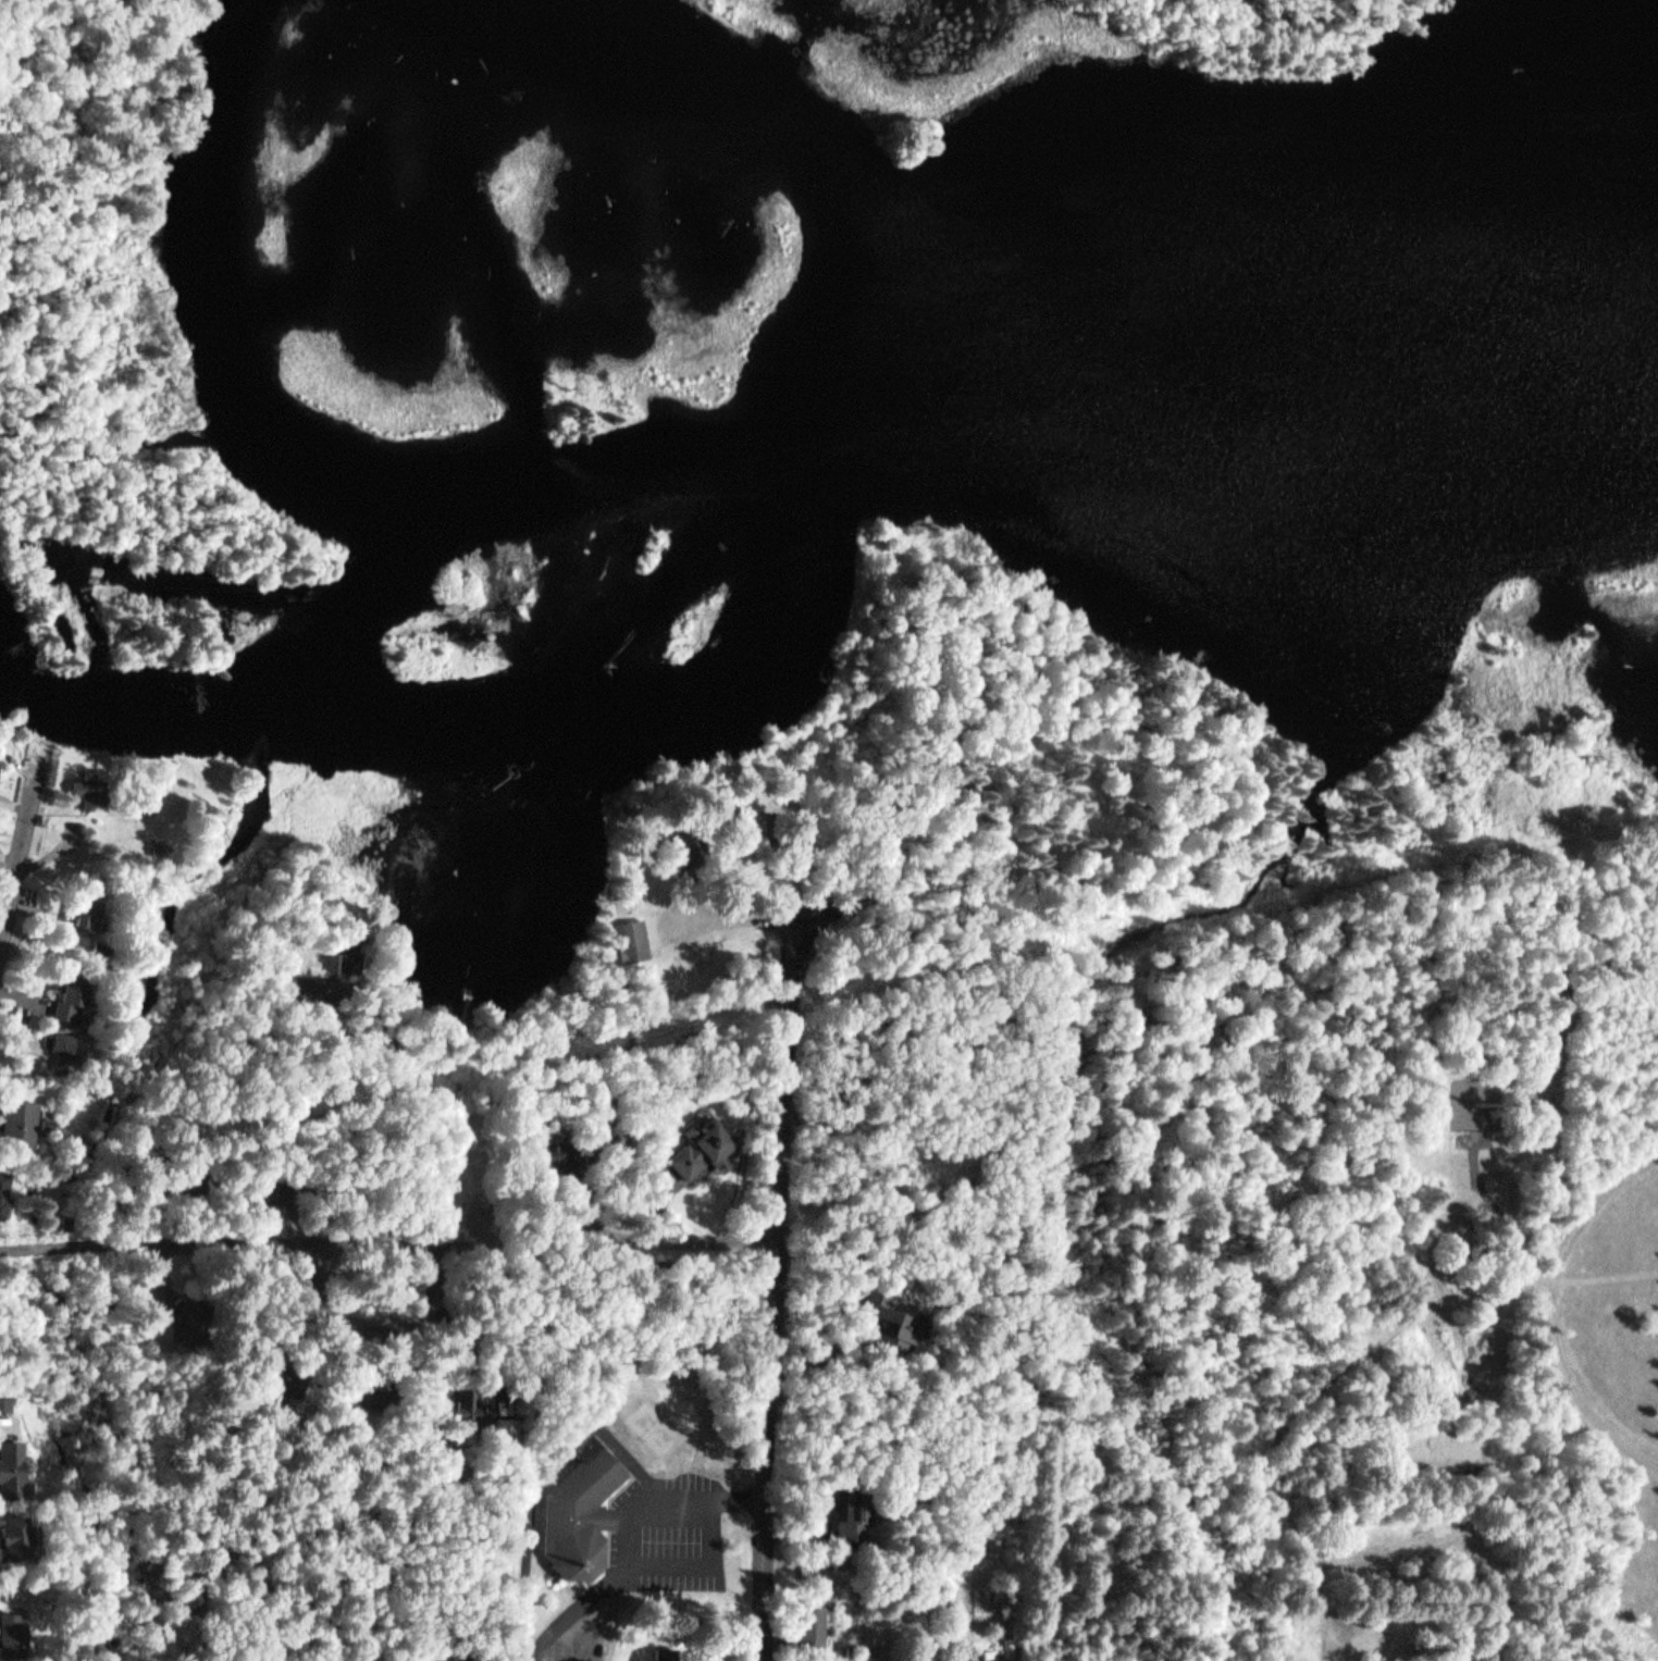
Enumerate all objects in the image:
road: (1267, 21)
road: (1276, 33)
road: (9, 173)
road: (58, 380)
building: (87, 783)
building: (158, 842)
building: (676, 848)
building: (159, 850)
road: (16, 853)
building: (86, 907)
building: (634, 940)
building: (102, 945)
building: (350, 947)
building: (312, 981)
building: (74, 991)
building: (60, 1037)
building: (20, 1116)
building: (706, 1142)
building: (195, 1178)
building: (4, 1189)
building: (269, 1189)
building: (482, 1217)
road: (630, 1228)
building: (360, 1229)
road: (215, 1235)
park: (1371, 1293)
road: (1555, 1307)
building: (196, 1316)
building: (891, 1317)
road: (782, 1341)
building: (280, 1376)
building: (381, 1389)
building: (477, 1400)
building: (14, 1468)
building: (854, 1508)
building: (579, 1513)
building: (15, 1536)
building: (814, 1622)
building: (17, 1632)
building: (670, 1654)
building: (453, 1660)

